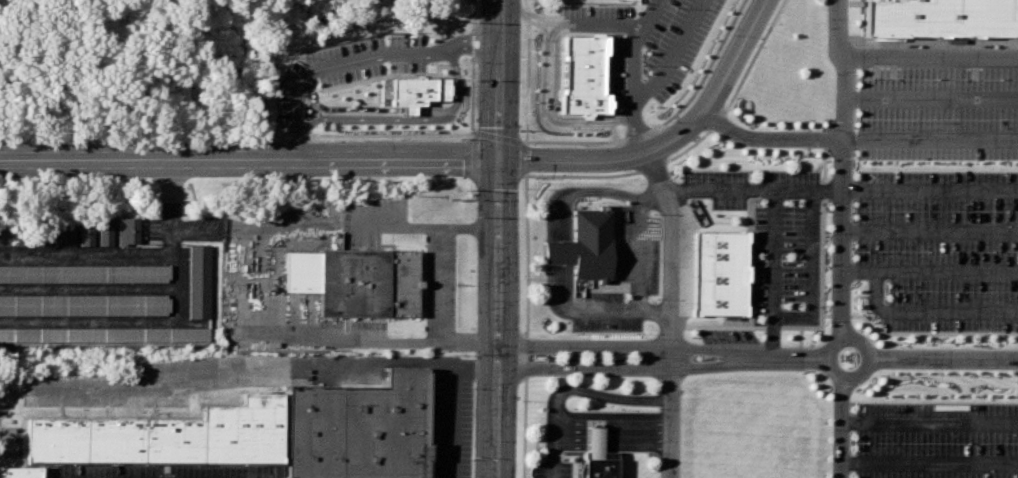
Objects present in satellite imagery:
road: (526, 3)
building: (935, 13)
road: (647, 14)
road: (526, 15)
road: (566, 24)
road: (472, 39)
road: (673, 53)
road: (752, 55)
road: (929, 59)
road: (346, 60)
parking lot: (345, 62)
road: (705, 68)
road: (841, 68)
building: (584, 74)
road: (612, 74)
road: (498, 79)
road: (526, 83)
building: (413, 86)
road: (634, 90)
building: (384, 91)
road: (310, 98)
road: (929, 100)
road: (549, 111)
road: (423, 119)
road: (612, 119)
road: (310, 120)
road: (715, 121)
road: (615, 133)
road: (637, 135)
road: (498, 137)
road: (667, 139)
road: (928, 141)
road: (571, 142)
road: (292, 143)
road: (658, 144)
road: (685, 147)
road: (626, 156)
traffic signals: (497, 159)
road: (525, 159)
road: (248, 161)
road: (649, 166)
road: (840, 167)
road: (581, 175)
parking lot: (927, 184)
road: (929, 190)
road: (808, 197)
building: (127, 230)
road: (929, 231)
building: (104, 233)
building: (84, 235)
parking lot: (772, 235)
building: (584, 245)
road: (559, 250)
road: (637, 258)
building: (710, 265)
road: (929, 271)
building: (83, 272)
road: (772, 273)
building: (355, 280)
parking lot: (624, 280)
building: (203, 281)
road: (437, 287)
building: (85, 305)
road: (665, 311)
road: (928, 313)
road: (496, 318)
building: (104, 334)
parking lot: (726, 336)
road: (841, 339)
road: (613, 343)
road: (779, 357)
road: (944, 357)
road: (222, 368)
road: (613, 371)
road: (570, 390)
parking lot: (450, 416)
road: (930, 421)
road: (448, 423)
road: (610, 423)
road: (842, 428)
building: (357, 429)
road: (610, 431)
building: (164, 439)
road: (610, 439)
building: (595, 440)
parking lot: (938, 441)
road: (610, 447)
road: (930, 462)
building: (600, 465)
parking lot: (552, 469)
parking lot: (155, 471)

